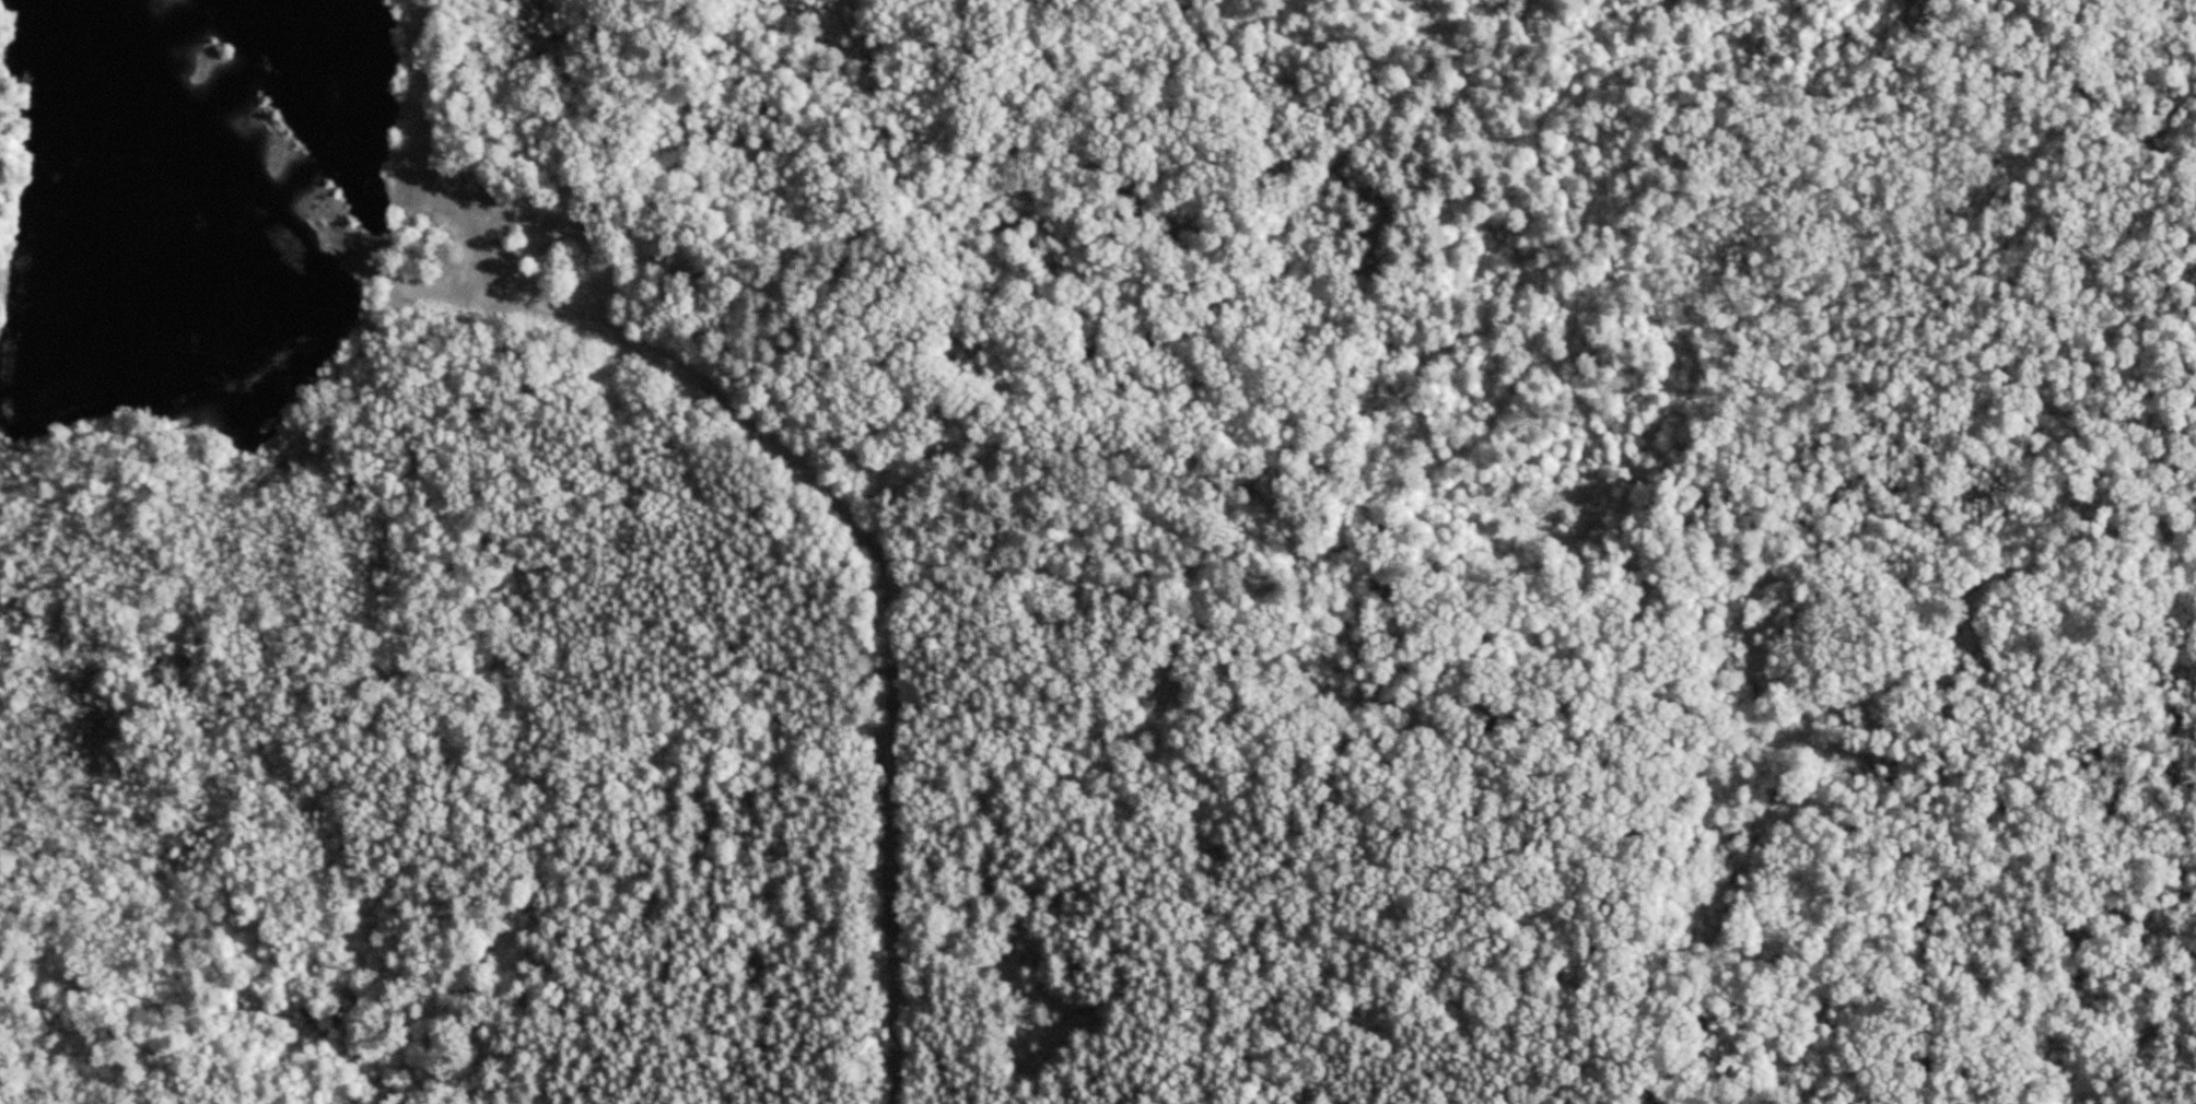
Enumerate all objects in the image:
road: (887, 589)

